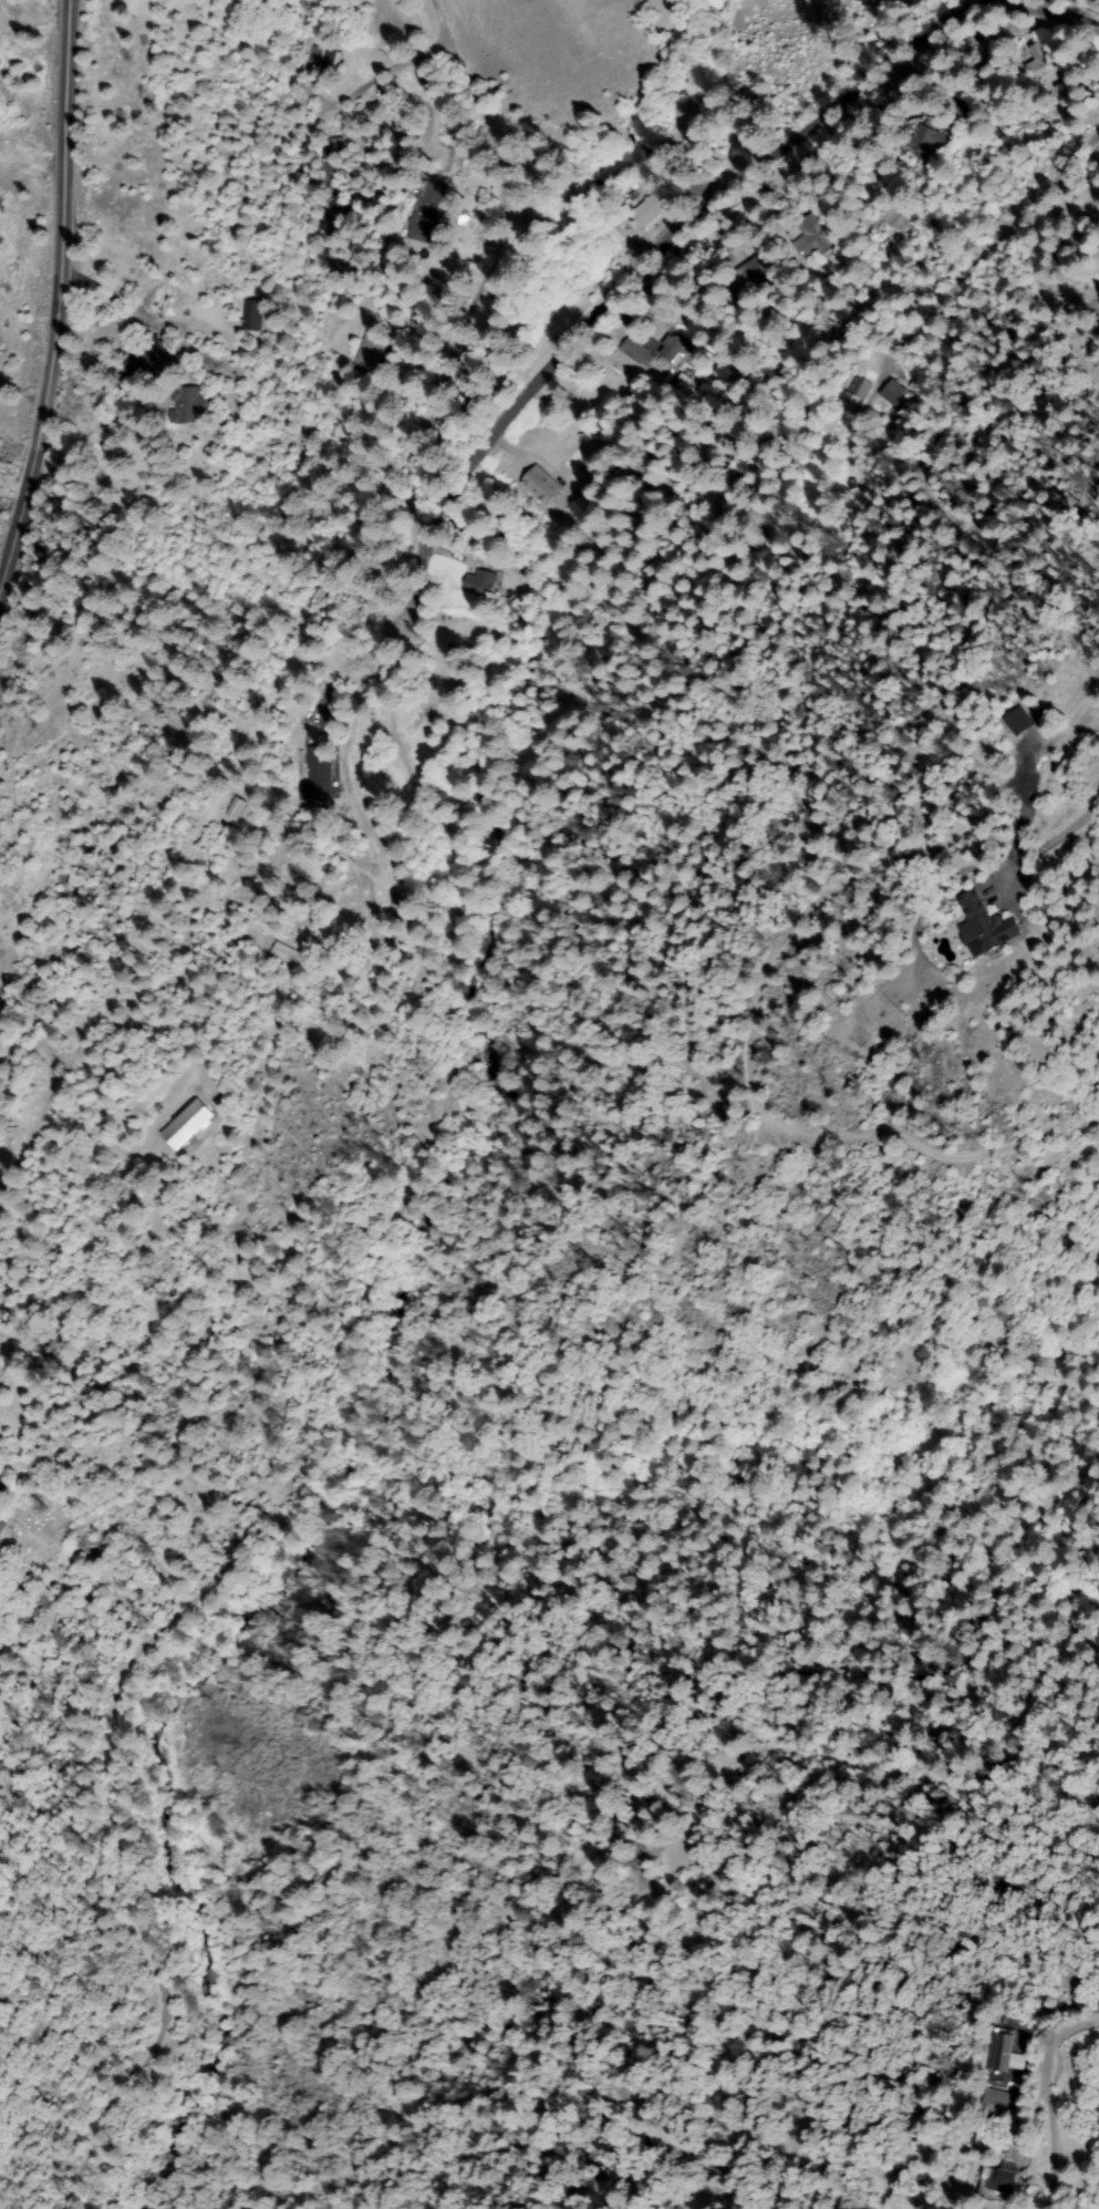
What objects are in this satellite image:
building: (323, 61)
building: (1044, 64)
building: (926, 138)
building: (331, 156)
road: (1085, 156)
building: (652, 206)
building: (429, 214)
building: (898, 214)
building: (336, 216)
road: (330, 237)
road: (515, 238)
building: (812, 238)
building: (754, 273)
road: (60, 303)
building: (253, 317)
road: (583, 328)
building: (673, 350)
building: (635, 352)
building: (373, 354)
building: (167, 360)
building: (893, 394)
building: (856, 396)
building: (193, 406)
road: (83, 432)
building: (541, 486)
road: (412, 491)
building: (580, 512)
building: (320, 514)
road: (323, 576)
building: (479, 584)
building: (314, 596)
building: (1019, 722)
building: (319, 771)
building: (236, 809)
building: (381, 890)
building: (396, 899)
road: (154, 902)
building: (985, 928)
building: (284, 952)
building: (188, 1125)
road: (320, 1405)
road: (711, 1849)
road: (1072, 2048)
building: (1006, 2053)
road: (1006, 2083)
building: (1020, 2084)
building: (997, 2104)
building: (1000, 2180)

